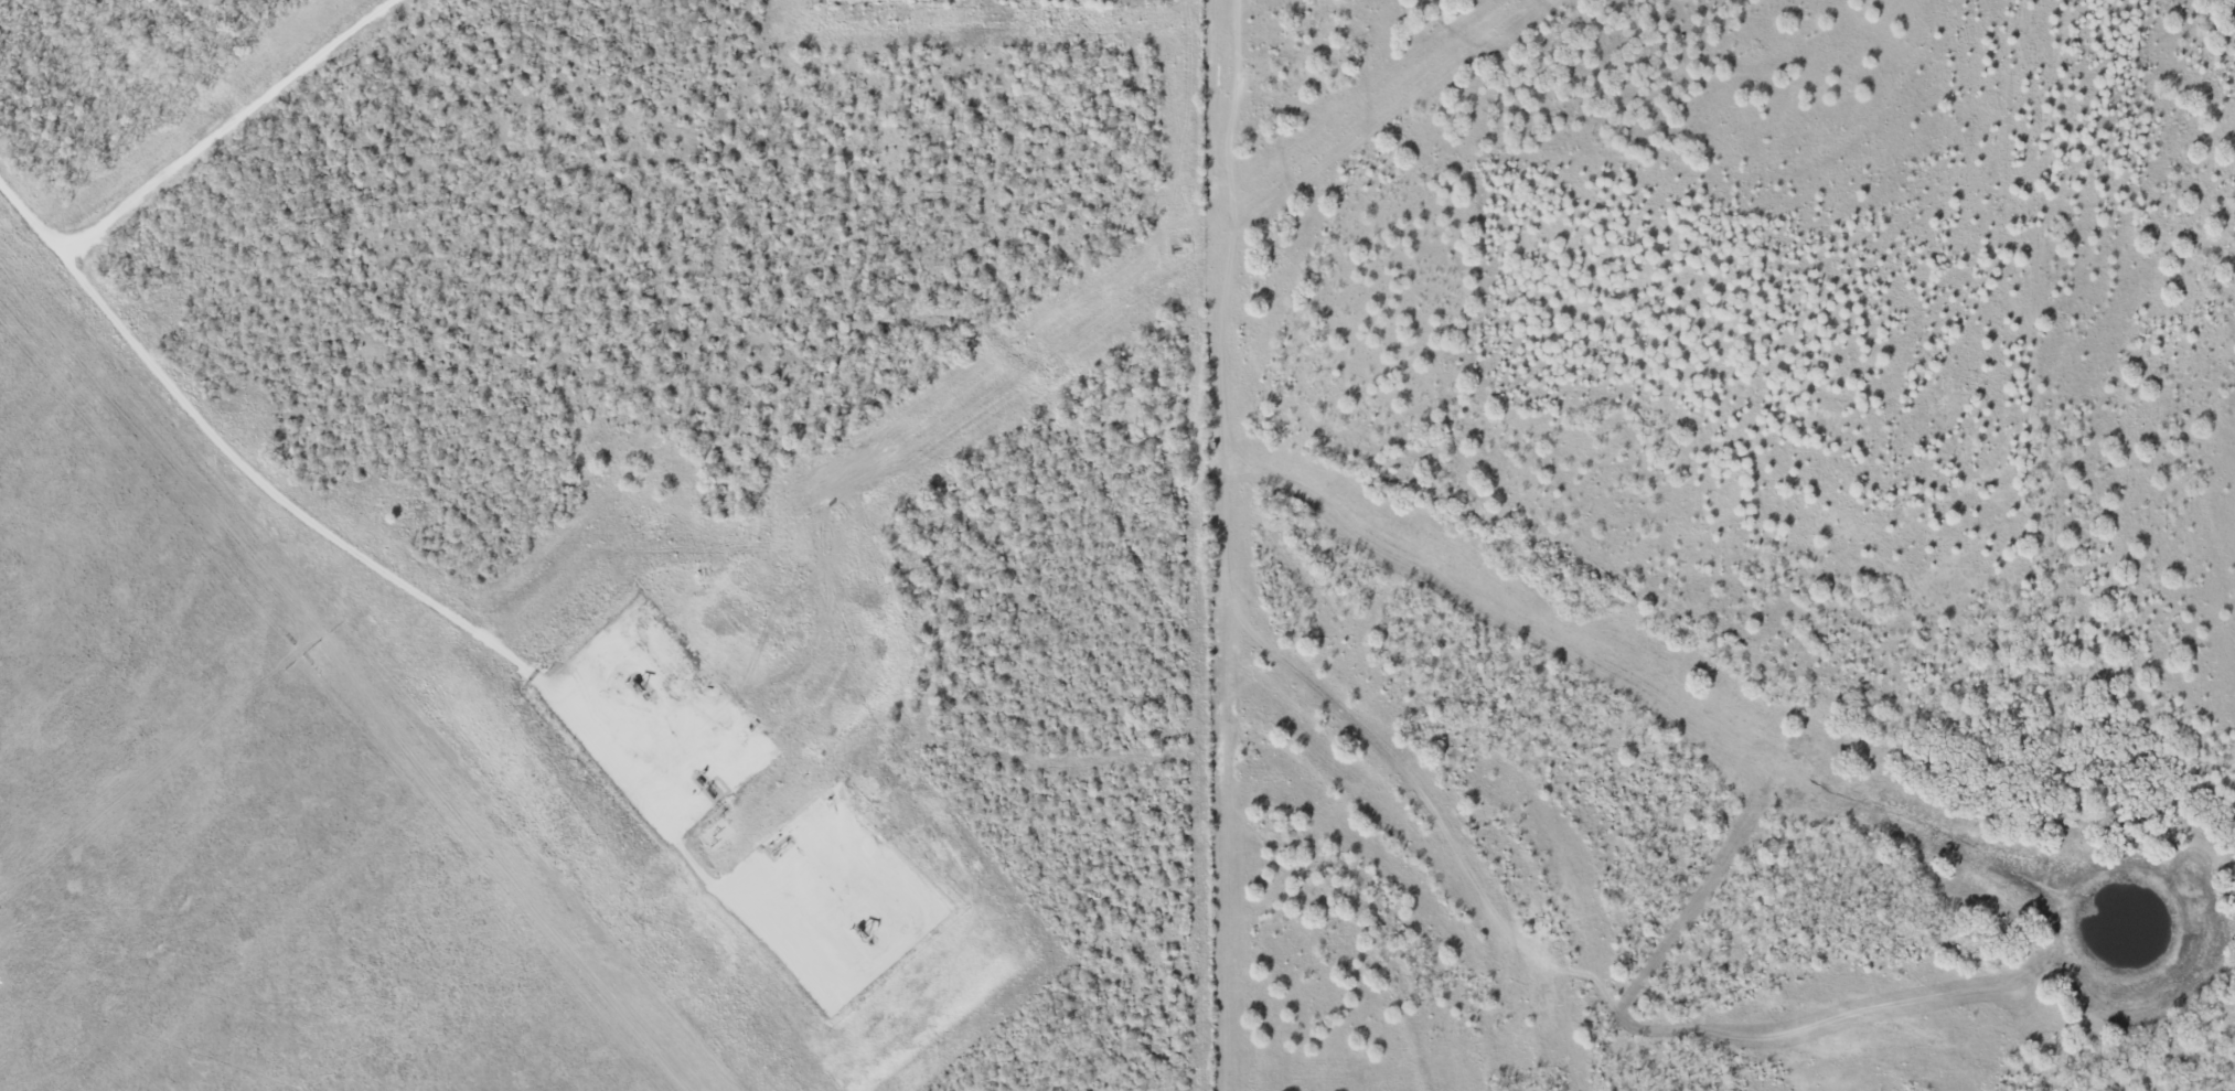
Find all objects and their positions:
road: (228, 131)
road: (244, 506)
road: (780, 949)

